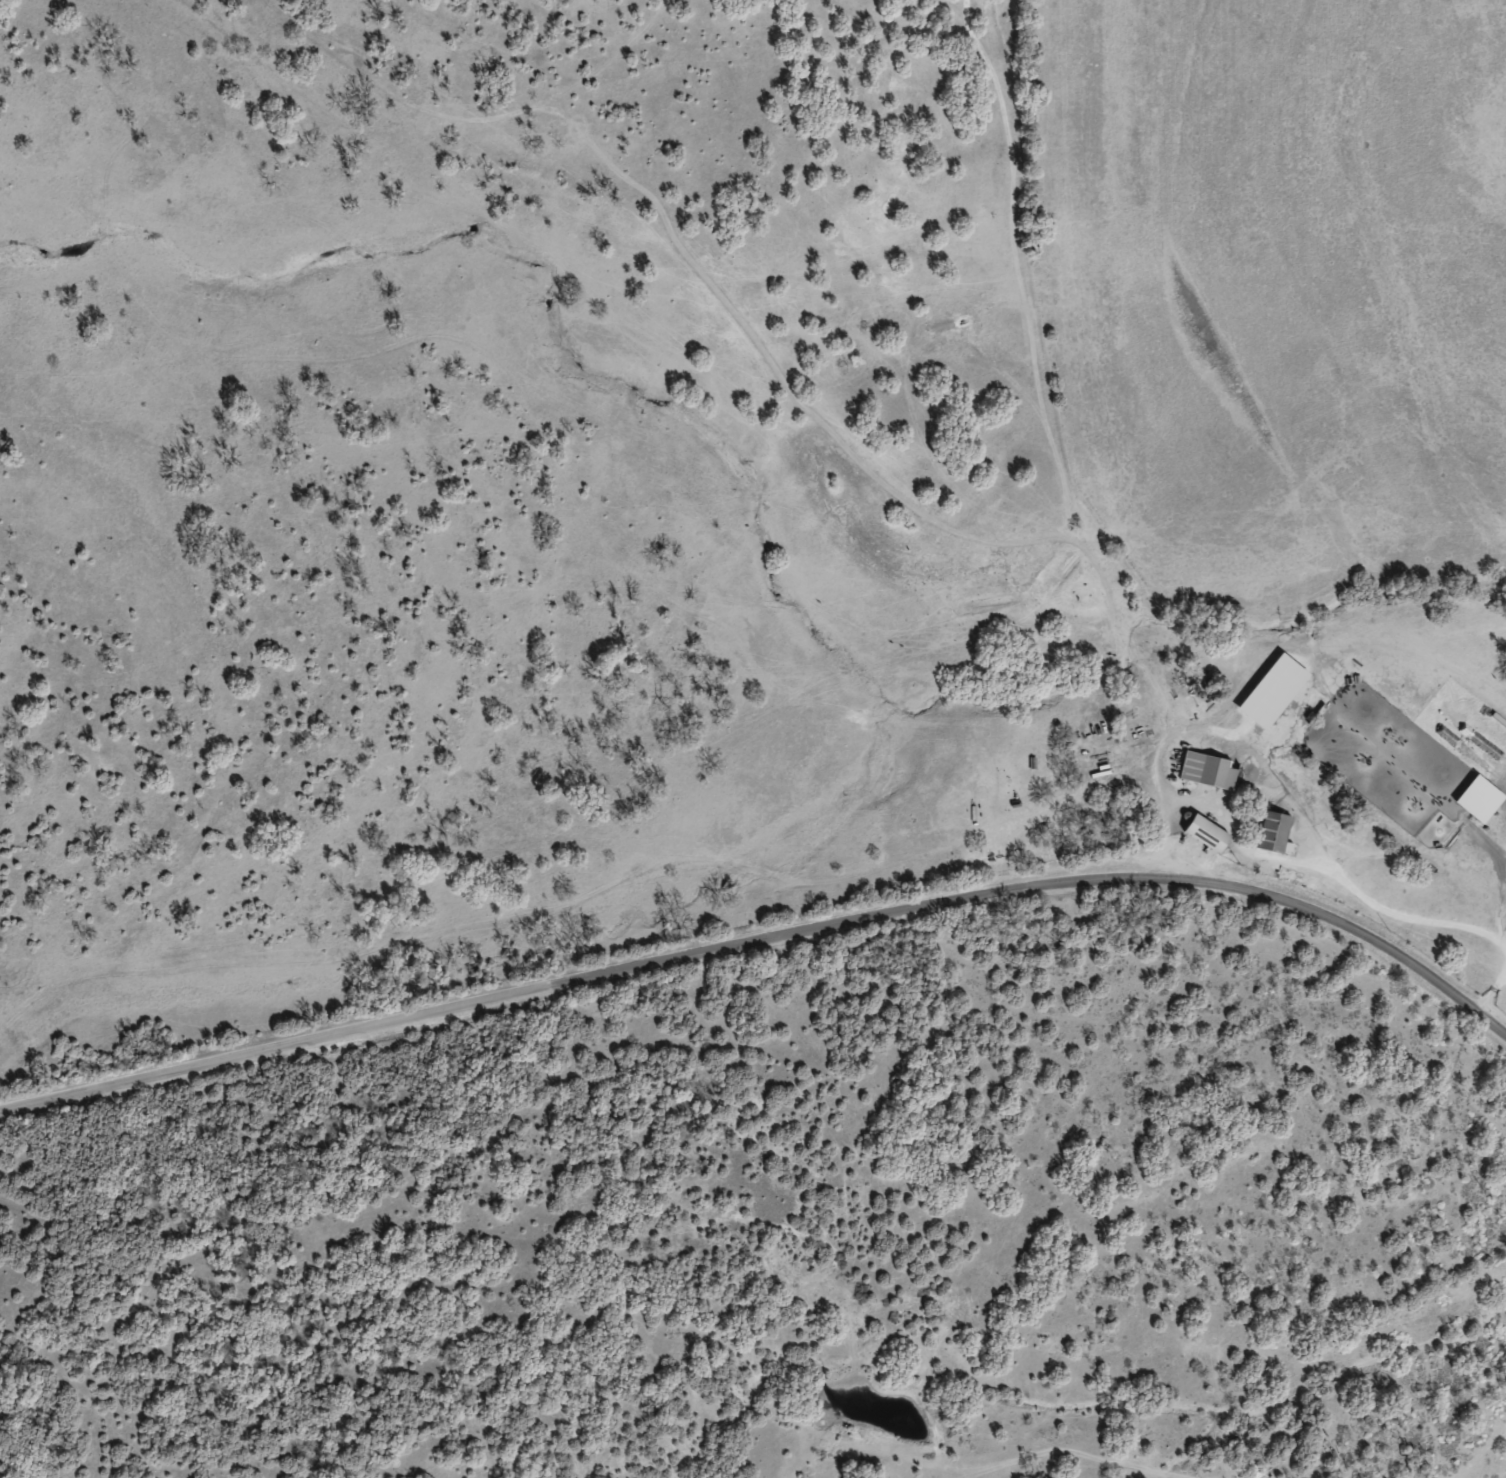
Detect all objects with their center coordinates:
road: (742, 234)
building: (1208, 771)
building: (1274, 832)
building: (1208, 835)
road: (1216, 885)
road: (445, 1014)

